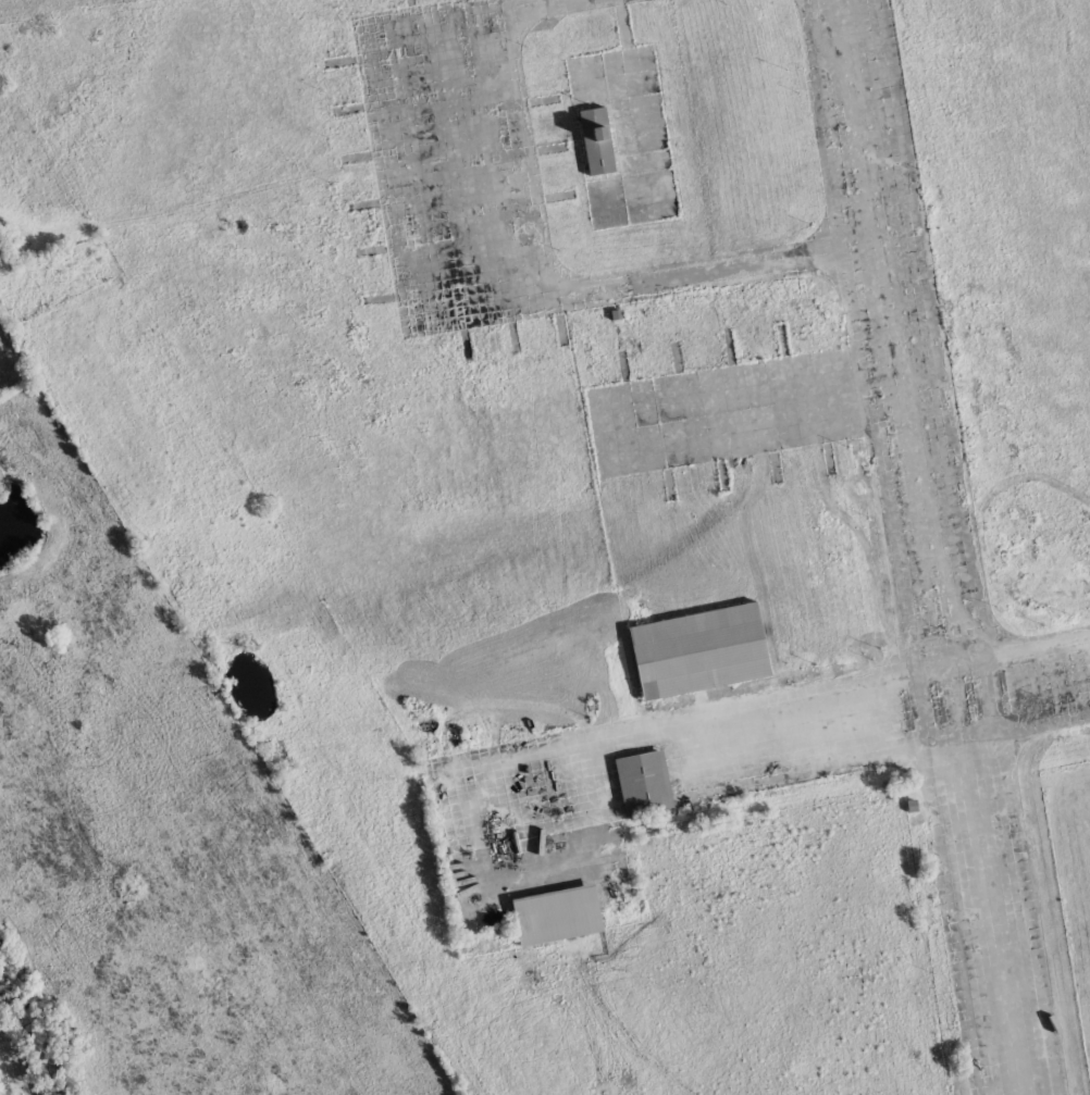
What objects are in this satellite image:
building: (703, 651)
building: (646, 783)

